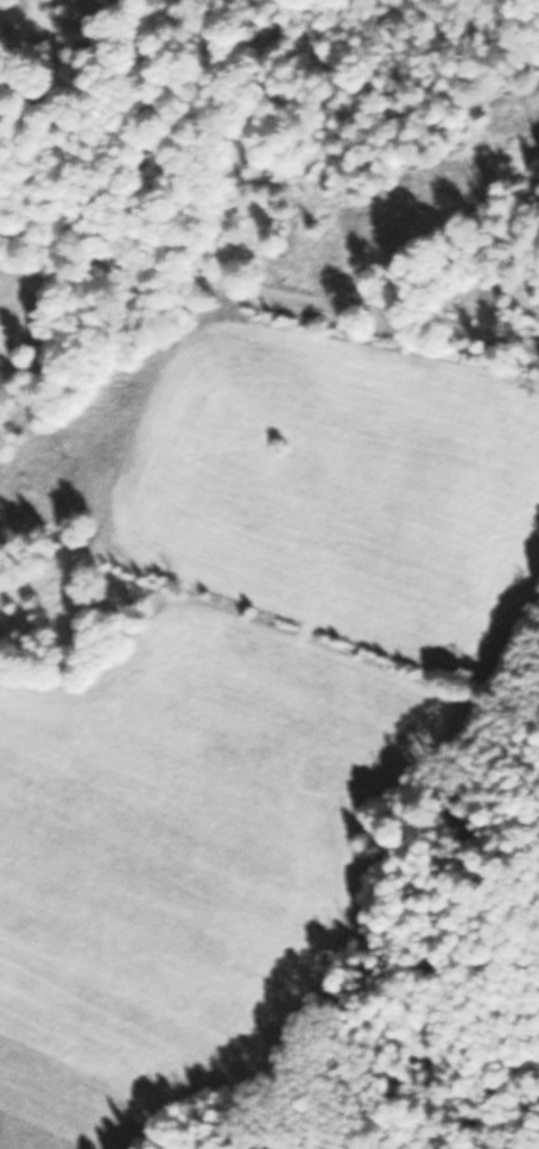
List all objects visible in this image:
road: (135, 144)
road: (268, 292)

